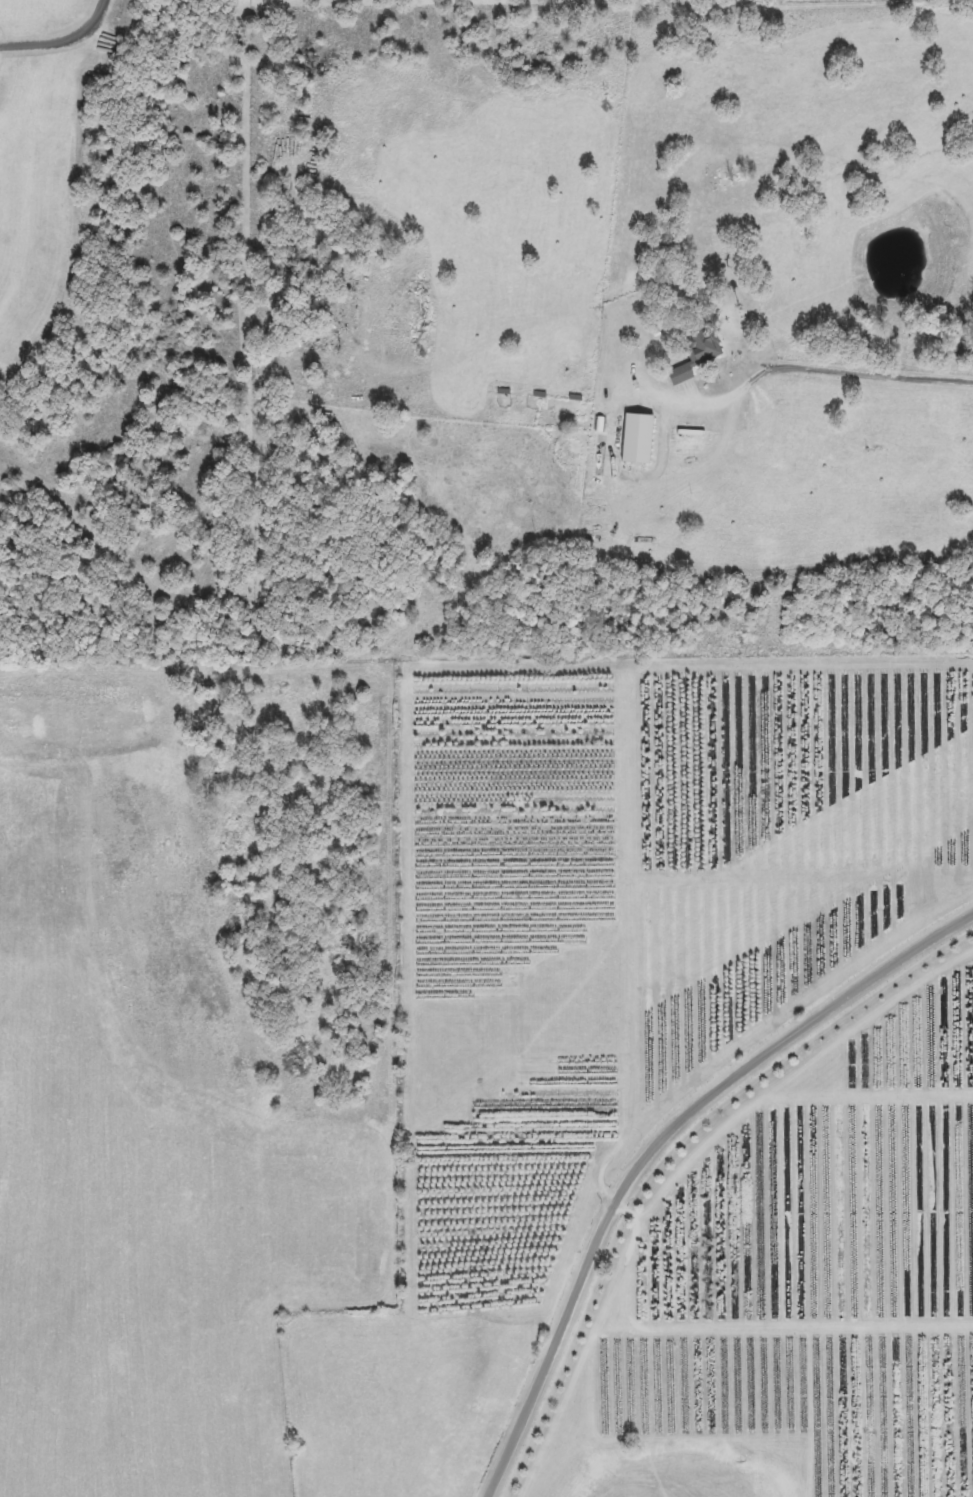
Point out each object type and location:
building: (697, 356)
building: (640, 438)
road: (657, 1145)

